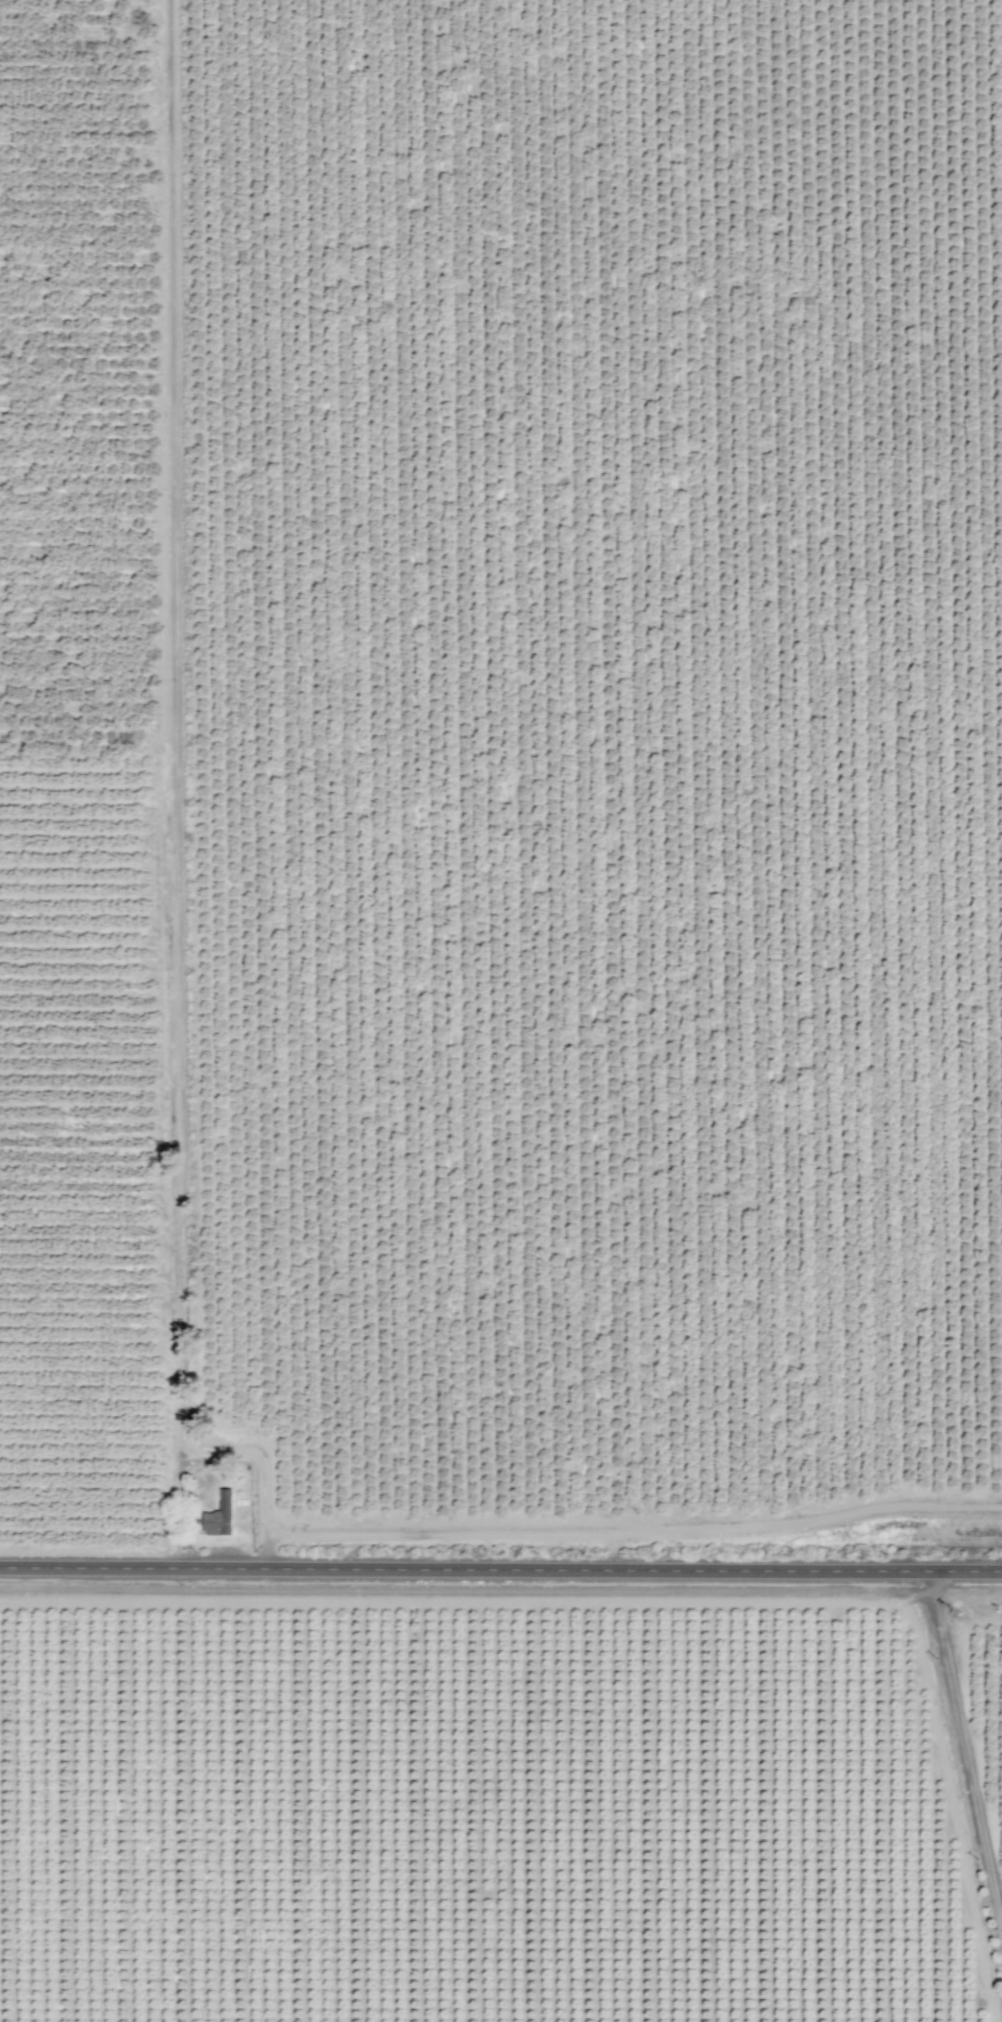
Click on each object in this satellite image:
building: (220, 1517)
road: (500, 1573)
road: (964, 1758)

